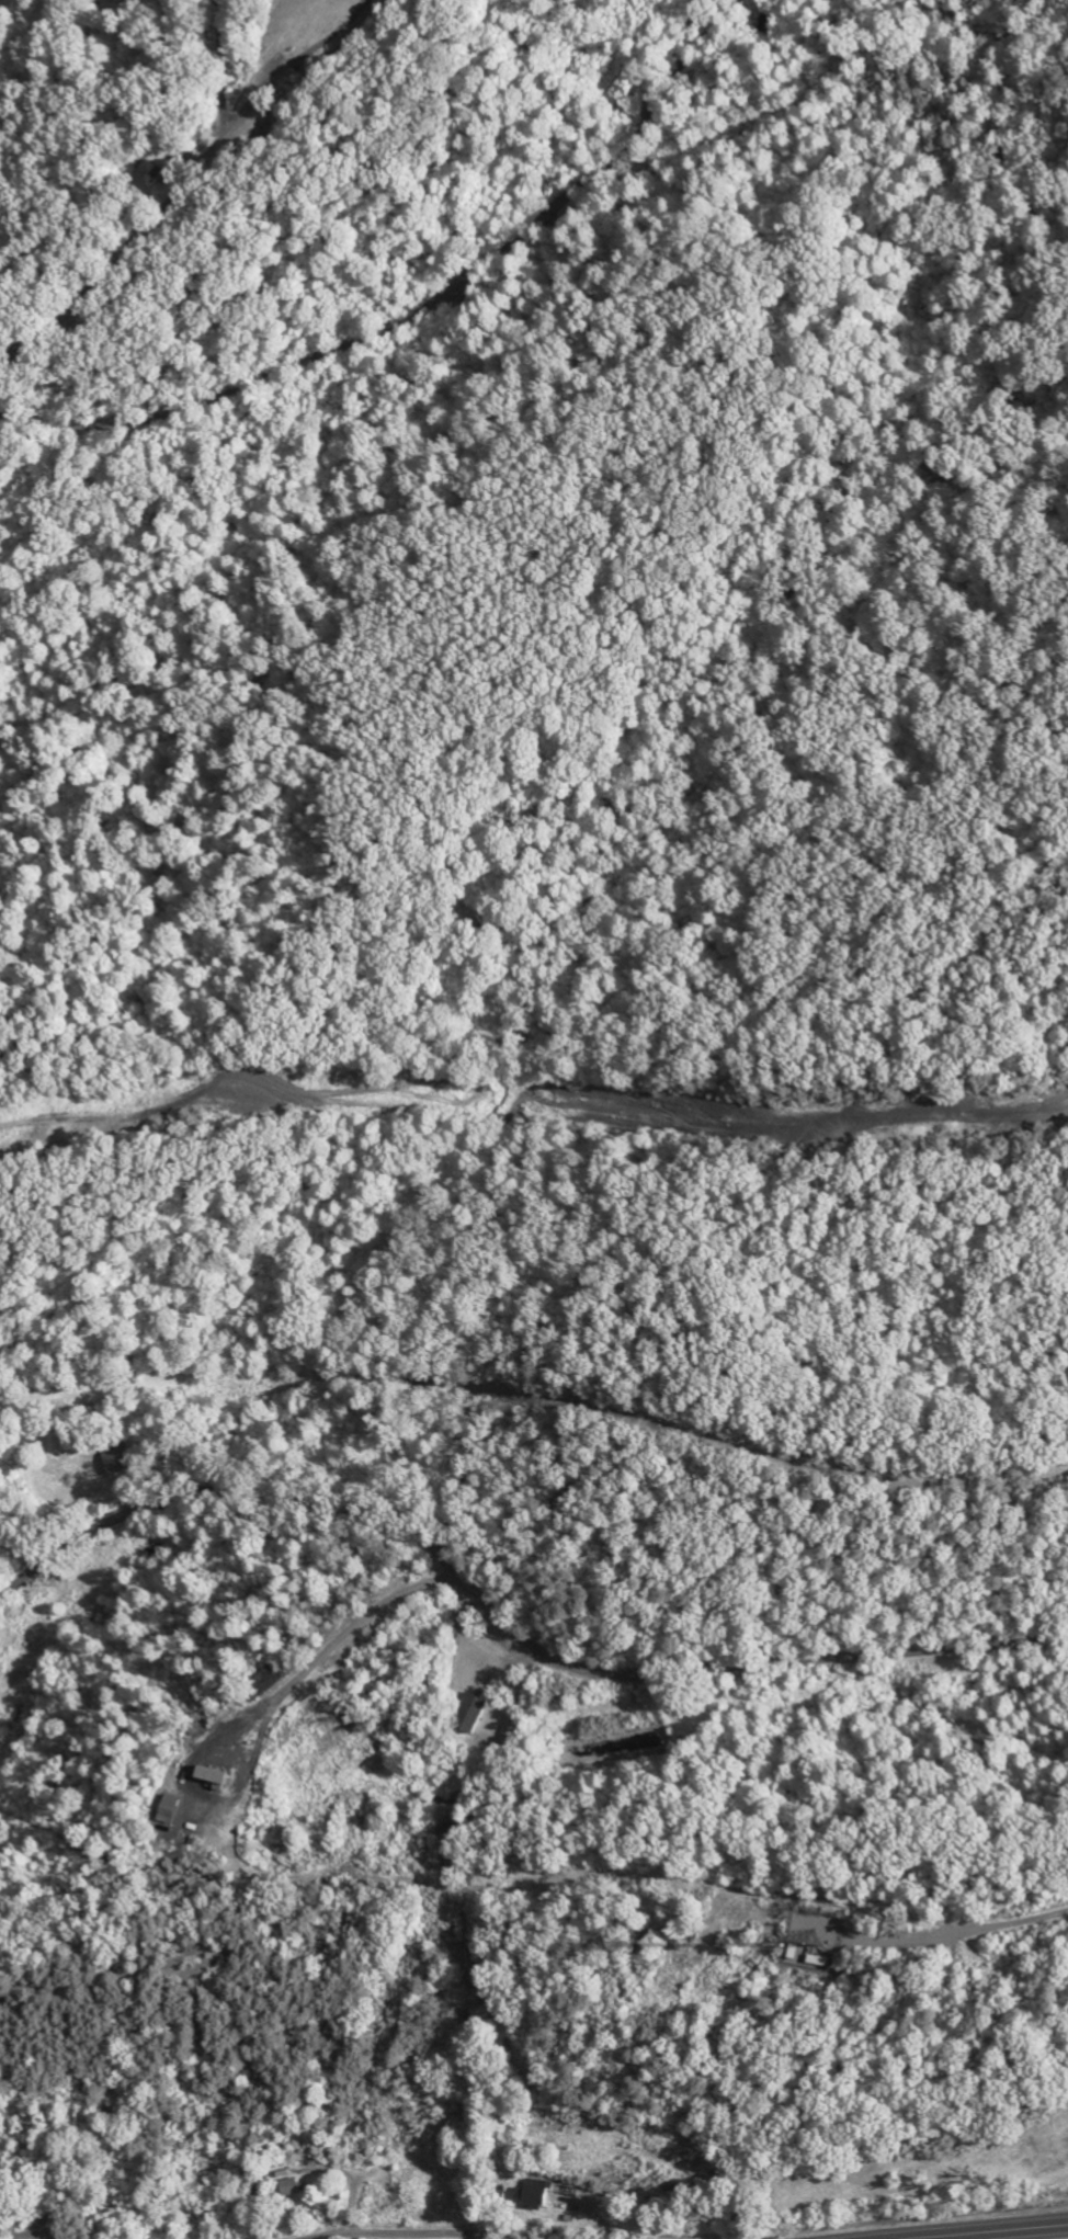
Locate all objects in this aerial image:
road: (325, 43)
road: (146, 230)
road: (502, 1624)
road: (346, 1644)
building: (251, 1685)
building: (473, 1714)
building: (513, 1731)
building: (217, 1774)
building: (200, 1778)
building: (168, 1807)
road: (854, 1902)
building: (294, 2187)
building: (533, 2195)
road: (998, 2232)
road: (24, 2235)
road: (418, 2235)

